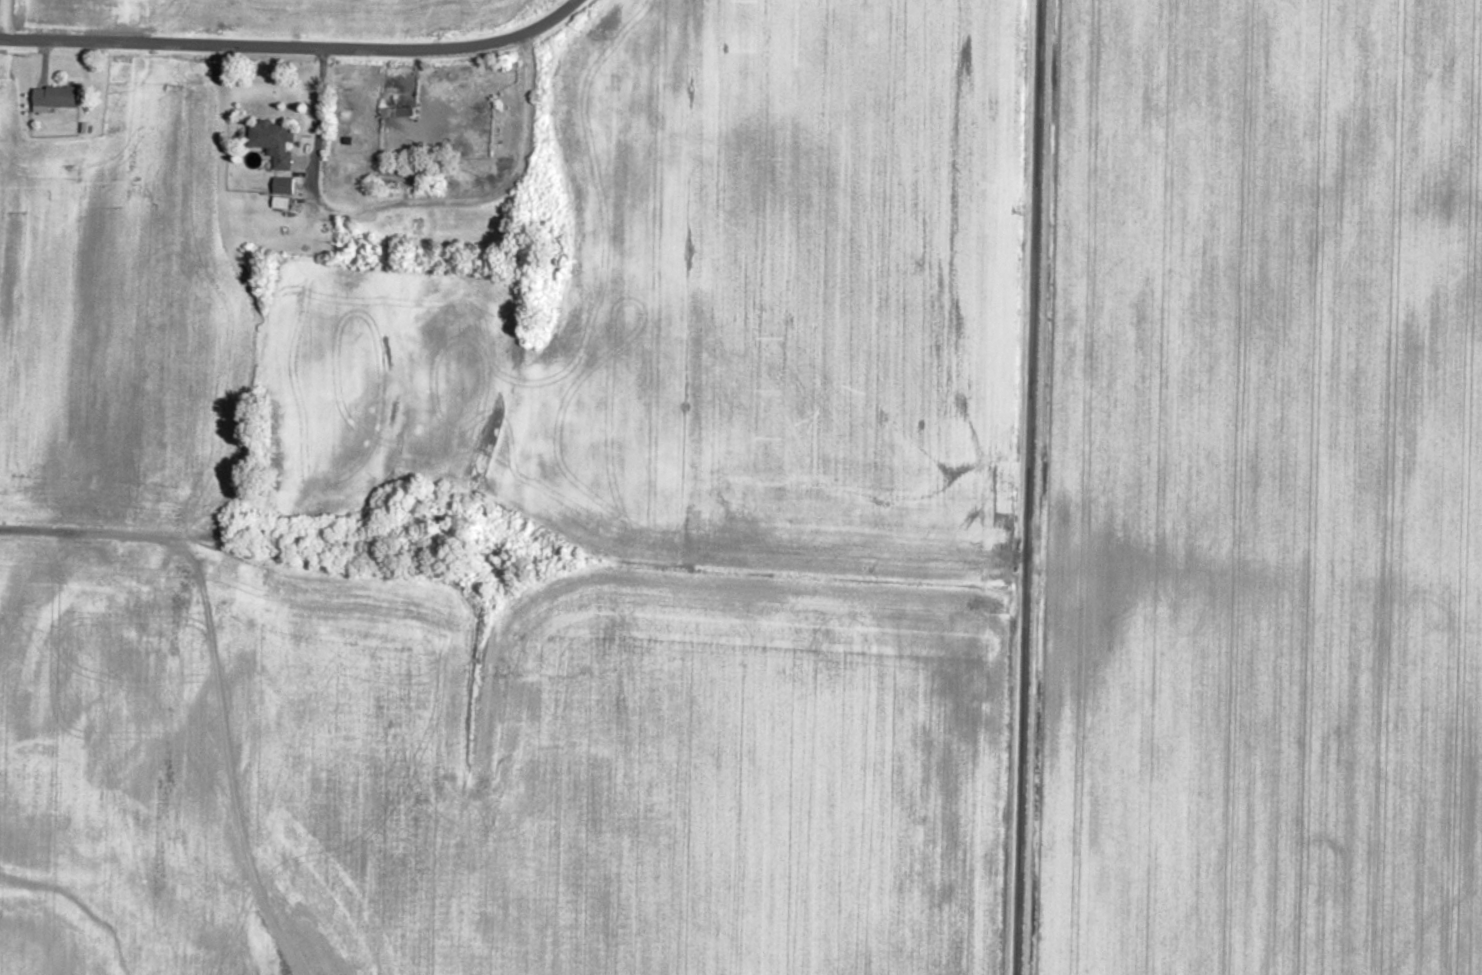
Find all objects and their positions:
road: (8, 14)
road: (321, 24)
building: (60, 96)
building: (277, 142)
building: (286, 185)
road: (1070, 487)
road: (92, 533)

